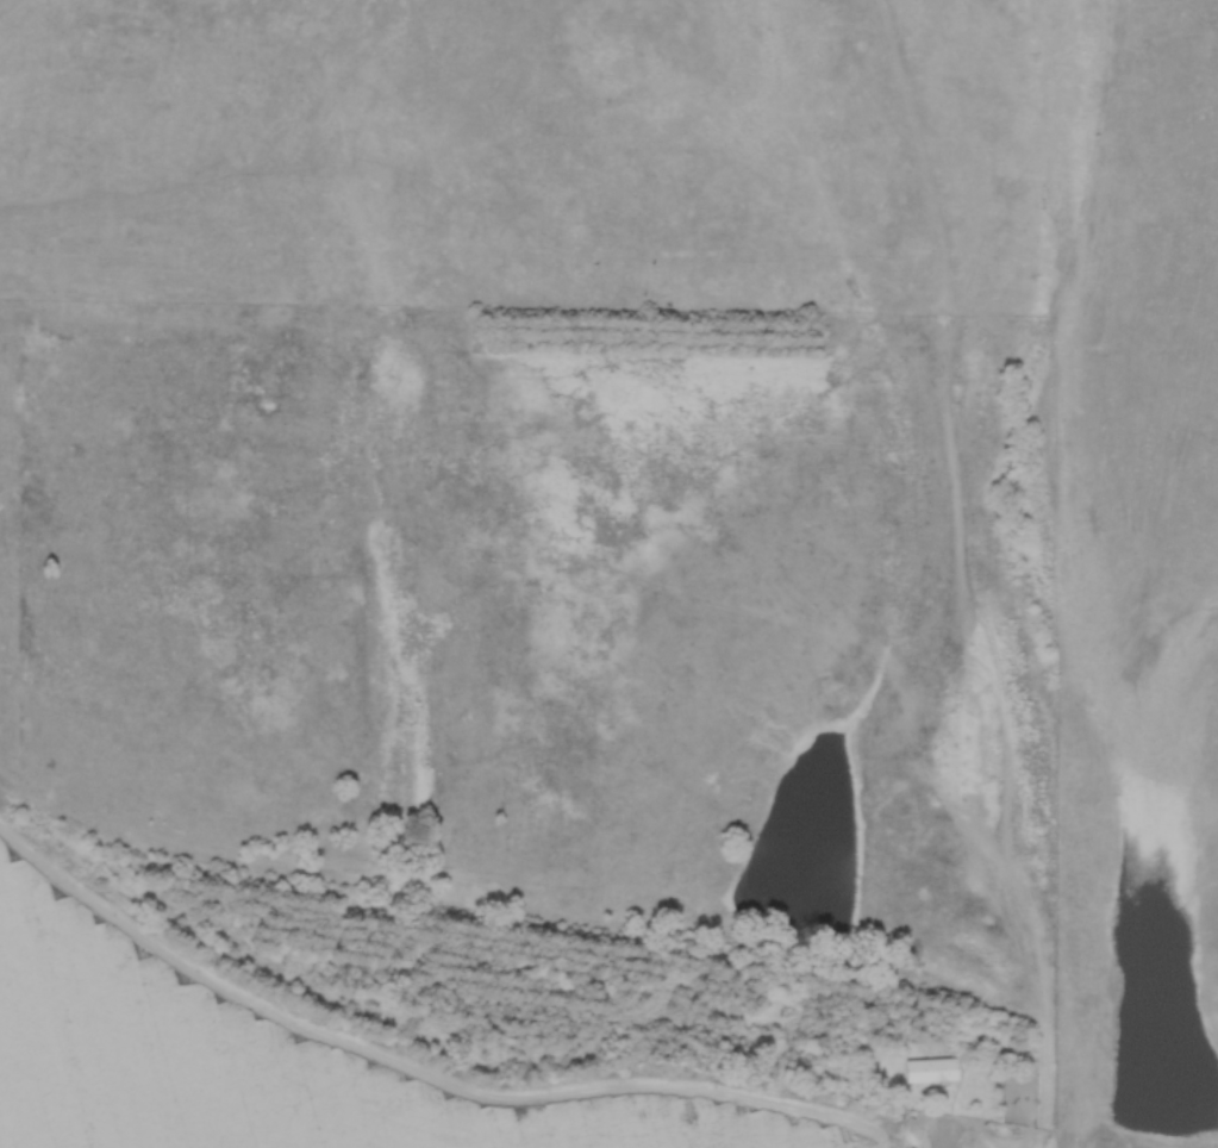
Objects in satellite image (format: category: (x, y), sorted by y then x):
building: (931, 1071)
road: (947, 1138)

